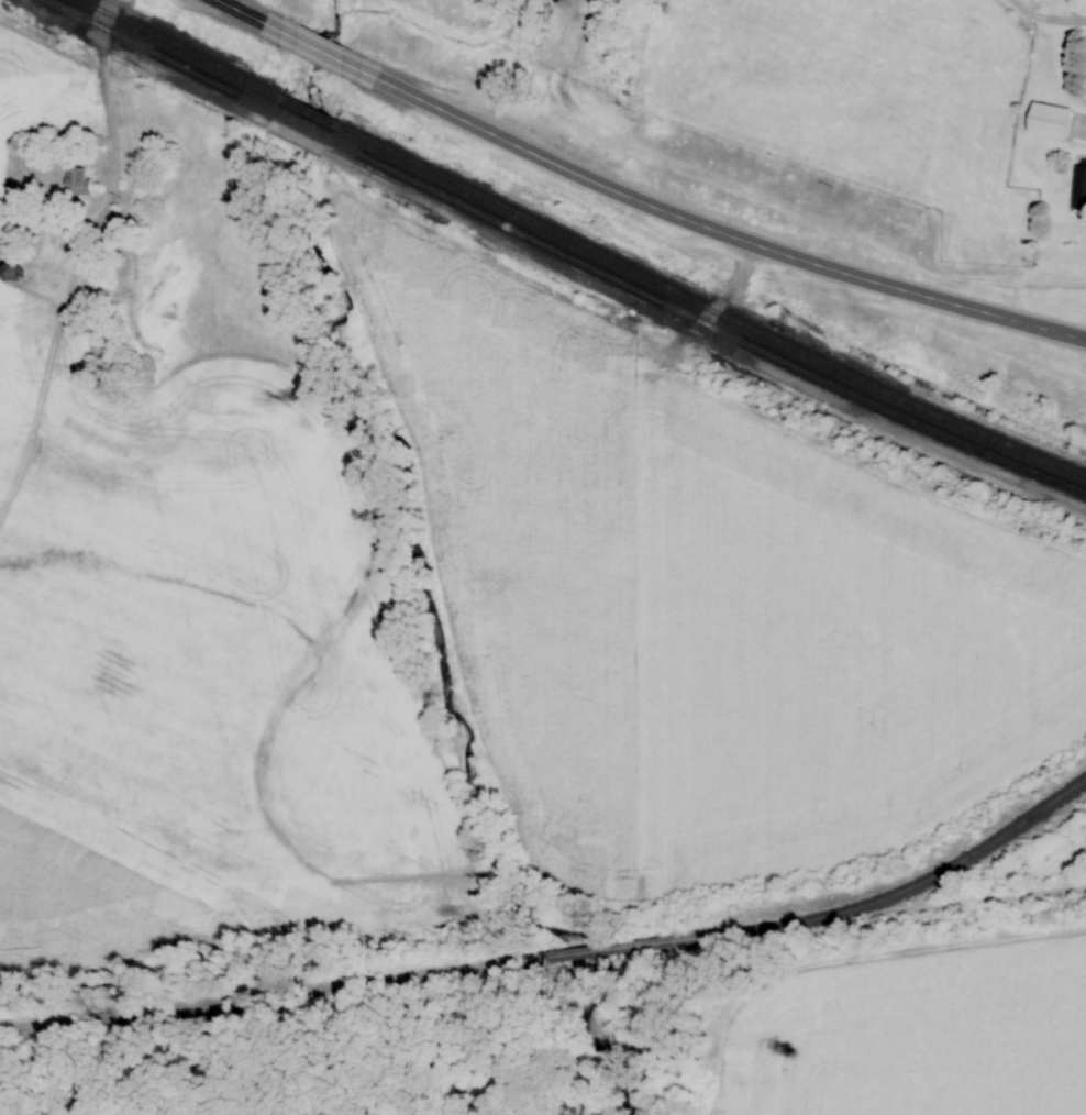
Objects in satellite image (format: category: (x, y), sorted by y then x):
building: (543, 15)
road: (1049, 19)
building: (1057, 122)
road: (108, 123)
building: (77, 181)
building: (1083, 191)
road: (633, 202)
building: (12, 218)
railway: (580, 245)
railway: (563, 253)
building: (9, 272)
railway: (910, 885)
railway: (356, 983)
crop: (909, 1031)

